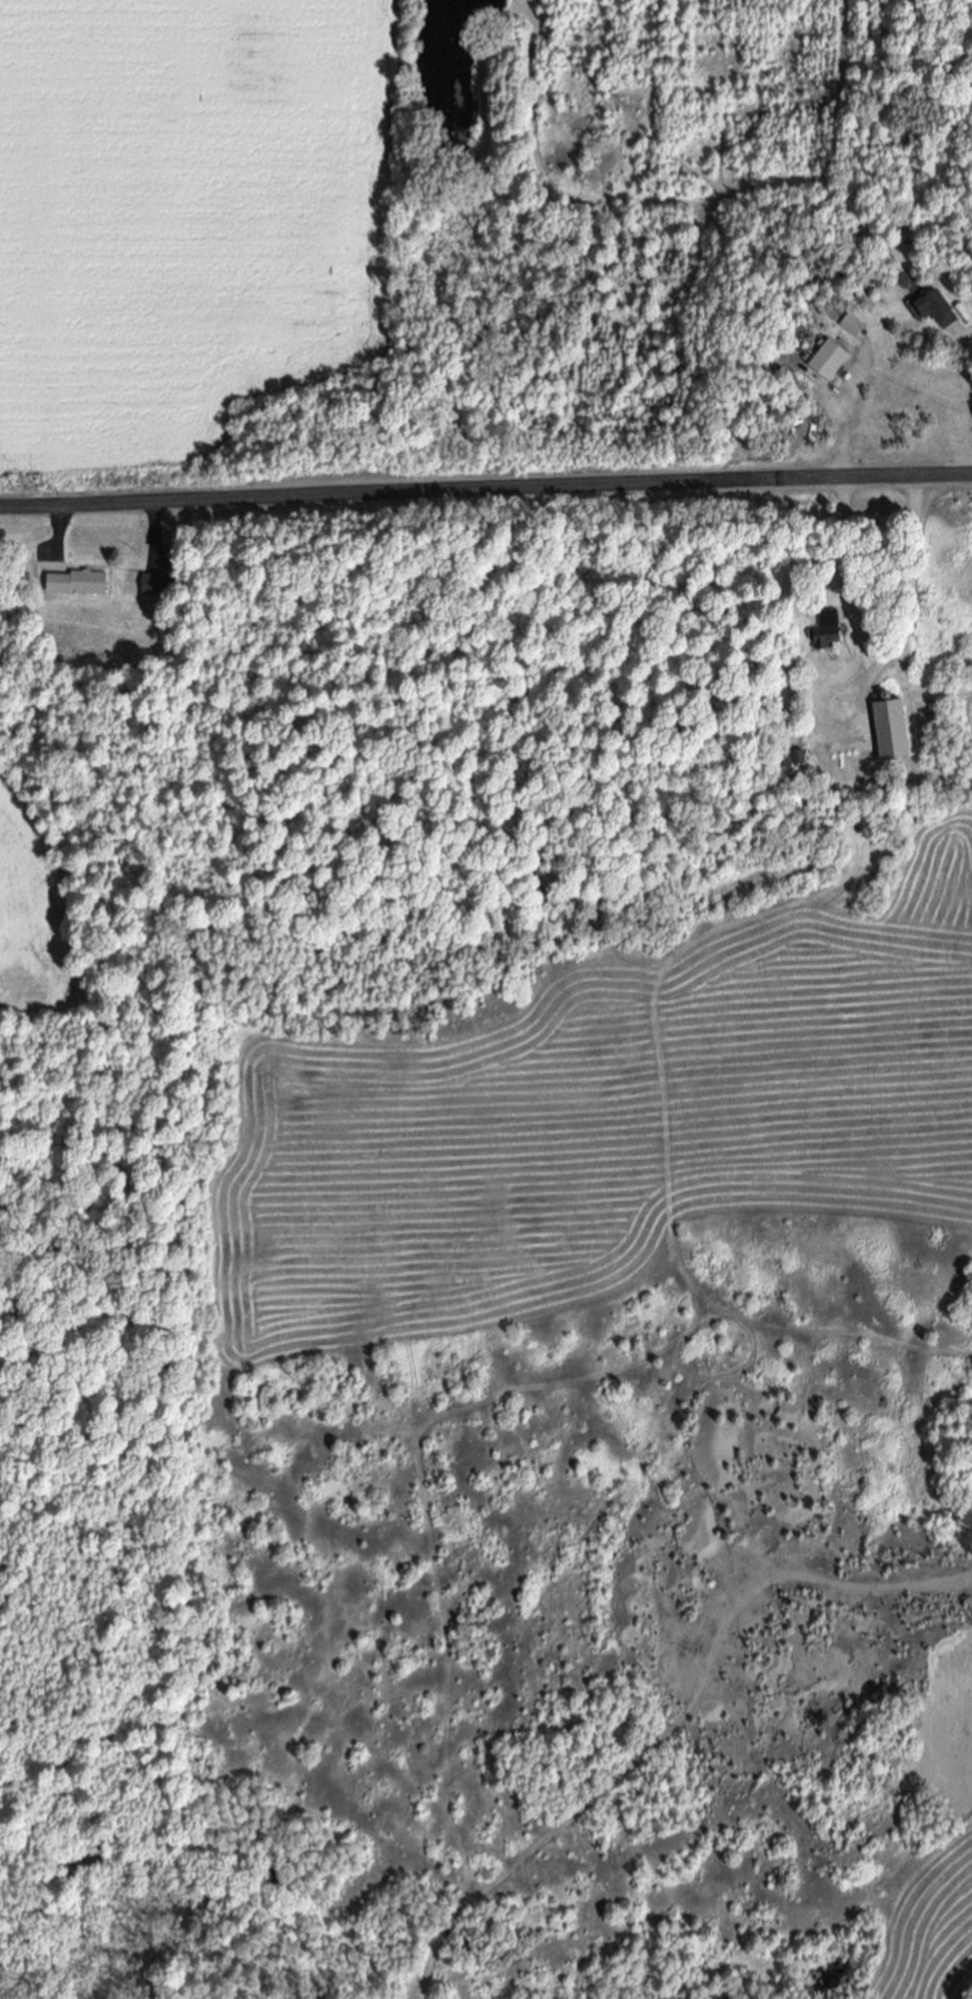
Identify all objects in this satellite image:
building: (931, 311)
building: (850, 327)
building: (826, 362)
road: (971, 434)
road: (485, 489)
road: (58, 529)
road: (153, 529)
road: (841, 580)
building: (75, 585)
building: (153, 588)
building: (824, 632)
building: (889, 732)
building: (791, 760)
quarry: (773, 1548)
road: (859, 1585)

